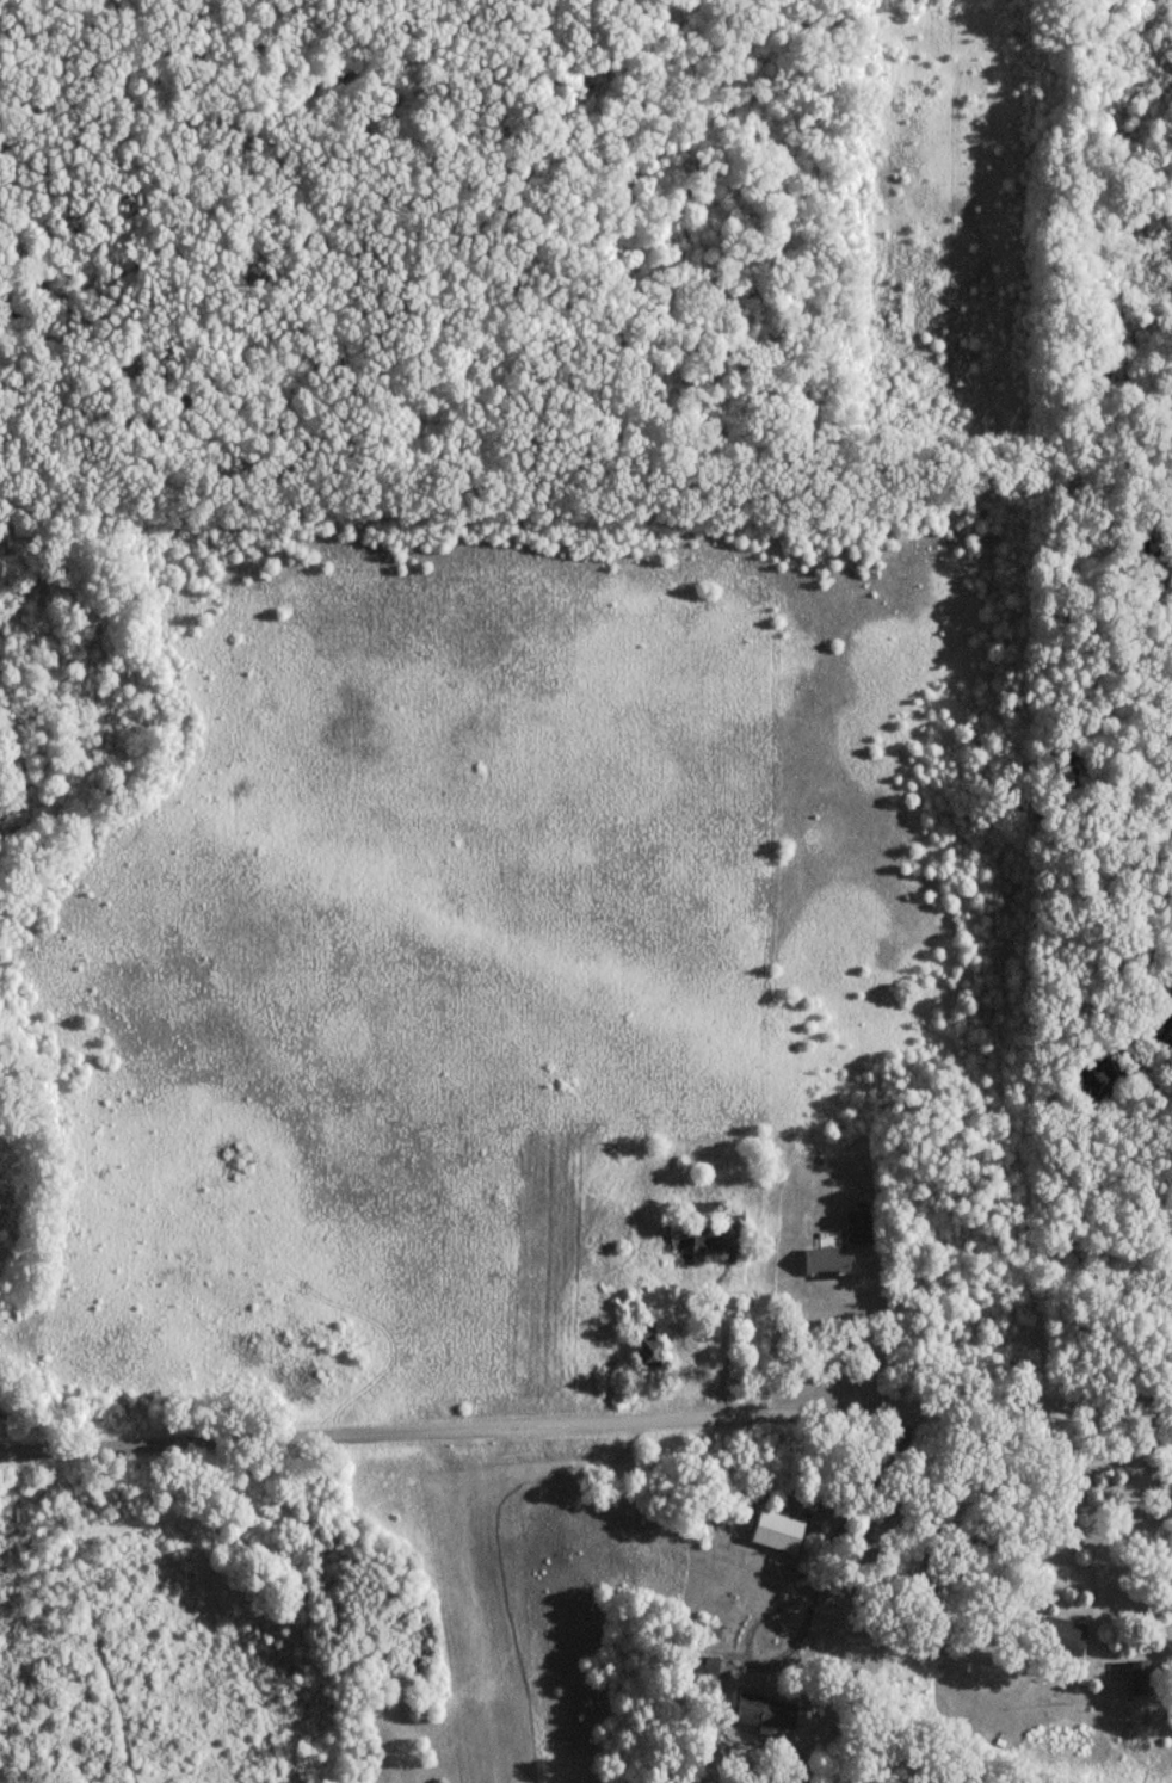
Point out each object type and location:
building: (732, 1226)
building: (855, 1226)
building: (681, 1238)
building: (821, 1260)
building: (642, 1327)
road: (870, 1332)
road: (721, 1343)
road: (585, 1424)
road: (930, 1550)
road: (814, 1596)
building: (1055, 1636)
building: (1129, 1678)
building: (760, 1711)

